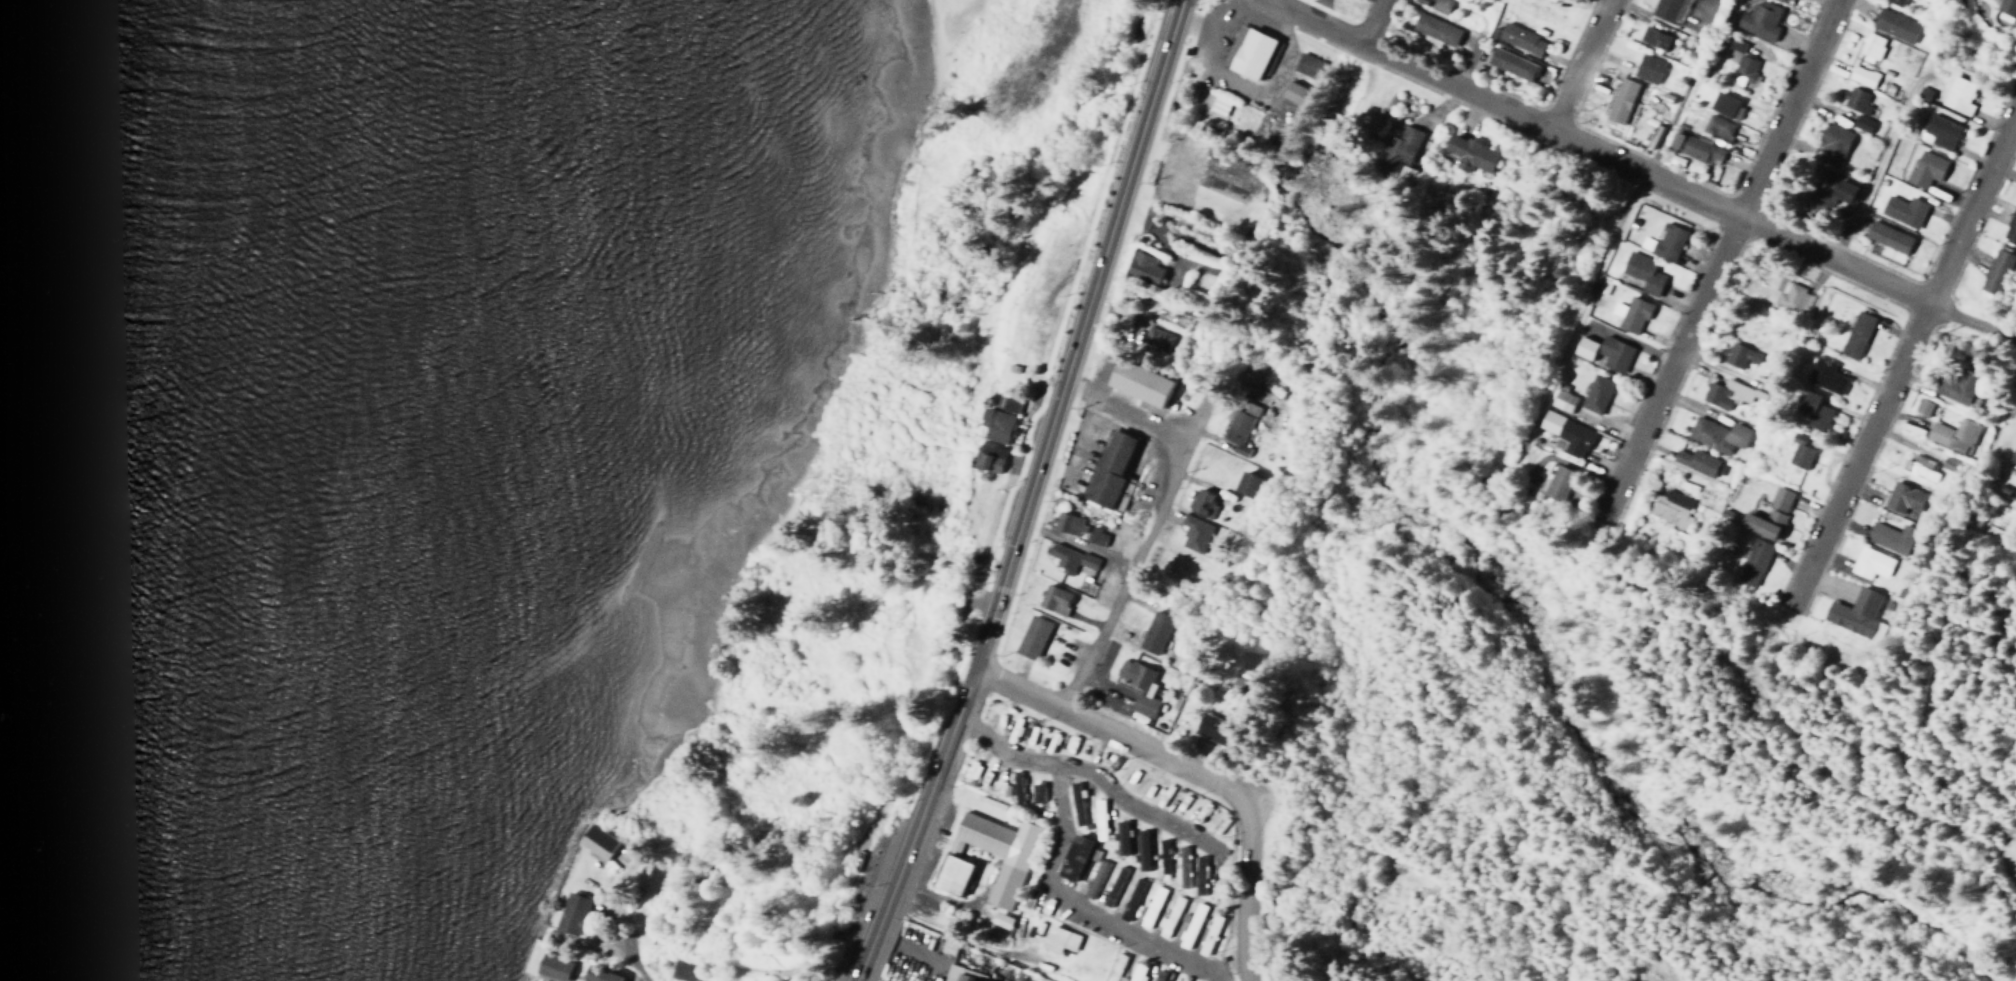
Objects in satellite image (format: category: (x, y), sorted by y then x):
building: (1780, 0)
building: (1894, 2)
building: (1439, 6)
building: (2006, 6)
building: (1669, 10)
building: (1759, 20)
road: (1370, 22)
building: (1894, 24)
building: (1434, 28)
building: (1653, 37)
building: (1519, 38)
building: (1733, 44)
building: (1869, 46)
building: (1246, 50)
building: (1510, 63)
building: (1306, 64)
road: (1575, 65)
building: (1647, 68)
building: (1742, 70)
building: (1861, 75)
building: (1295, 93)
building: (1956, 95)
building: (1854, 98)
building: (1620, 100)
building: (1725, 105)
building: (1861, 123)
building: (1716, 127)
building: (1937, 131)
building: (1832, 142)
building: (1693, 146)
building: (1195, 147)
building: (1397, 149)
building: (1468, 153)
road: (1597, 153)
building: (1925, 168)
building: (1829, 189)
building: (1902, 210)
road: (1971, 210)
building: (2010, 225)
building: (1887, 236)
building: (1664, 241)
road: (1718, 259)
building: (1142, 267)
building: (1642, 272)
building: (1992, 273)
building: (1788, 294)
building: (1630, 313)
road: (1972, 324)
road: (1078, 333)
building: (1855, 333)
building: (1153, 337)
building: (1583, 348)
building: (1613, 353)
building: (1737, 355)
building: (1824, 375)
building: (1139, 382)
building: (1956, 385)
building: (1595, 393)
building: (1726, 393)
building: (1560, 400)
building: (1009, 403)
building: (1922, 406)
building: (1249, 408)
building: (1813, 411)
building: (994, 425)
building: (1236, 431)
building: (1565, 433)
building: (1716, 434)
building: (1952, 435)
building: (1799, 451)
road: (1860, 454)
building: (988, 456)
building: (2011, 459)
building: (1695, 461)
building: (1917, 466)
building: (1113, 467)
building: (1558, 481)
building: (1246, 484)
building: (1903, 499)
building: (1202, 502)
building: (1670, 508)
road: (1151, 514)
building: (1769, 514)
building: (1066, 522)
building: (1192, 532)
building: (1094, 535)
building: (1889, 537)
building: (1061, 557)
building: (1085, 560)
building: (1751, 561)
building: (1870, 562)
building: (1052, 598)
building: (1855, 613)
building: (1153, 632)
building: (1031, 636)
building: (1138, 686)
building: (1209, 730)
road: (1115, 731)
road: (1102, 780)
building: (1015, 784)
building: (1035, 791)
building: (1074, 803)
building: (1097, 819)
road: (915, 824)
building: (1119, 838)
building: (596, 841)
building: (1140, 850)
building: (997, 852)
building: (1161, 856)
building: (1072, 857)
building: (1181, 867)
building: (951, 875)
building: (1198, 875)
building: (1093, 879)
building: (1112, 886)
road: (1243, 897)
building: (1130, 898)
road: (1079, 905)
building: (1148, 908)
building: (570, 913)
building: (1169, 916)
building: (1000, 920)
building: (1190, 925)
building: (1208, 934)
building: (1057, 939)
building: (552, 967)
building: (682, 971)
building: (1134, 972)
building: (955, 973)
building: (597, 974)
building: (1157, 975)

